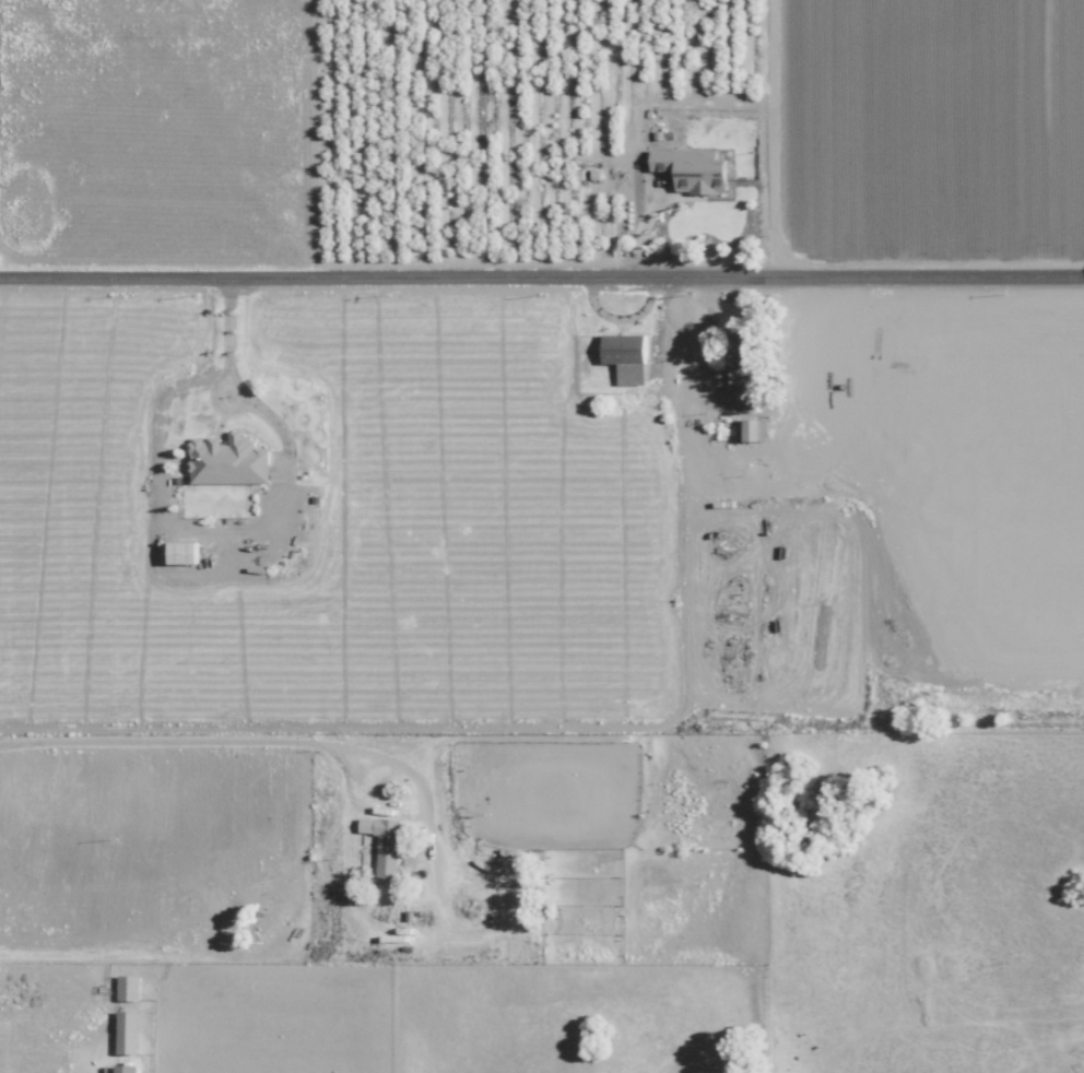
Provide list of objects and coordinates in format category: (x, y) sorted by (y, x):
crop: (929, 139)
road: (644, 226)
road: (541, 276)
road: (708, 323)
road: (618, 327)
building: (624, 355)
building: (737, 356)
road: (232, 380)
building: (750, 429)
building: (225, 460)
building: (180, 552)
road: (204, 741)
building: (381, 842)
building: (126, 988)
building: (125, 1033)

